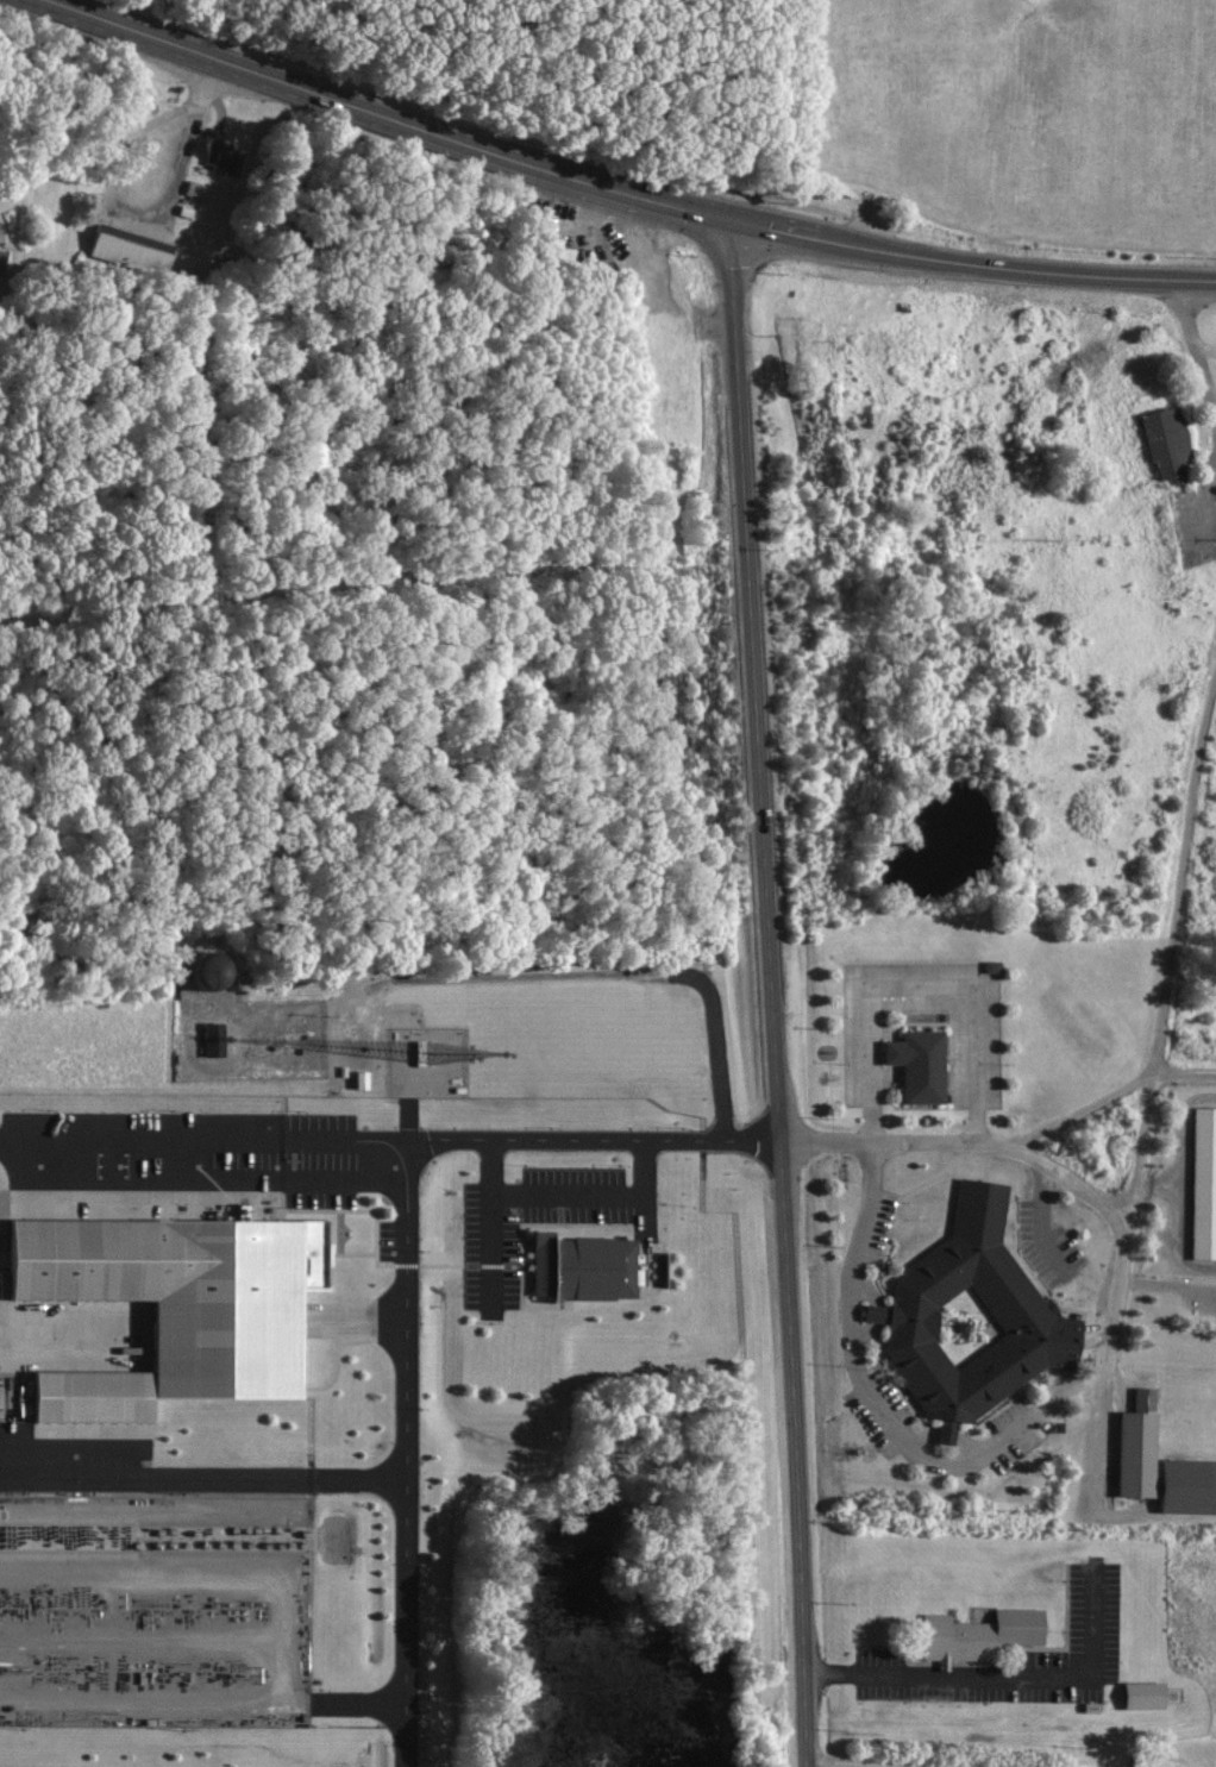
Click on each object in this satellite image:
road: (13, 49)
road: (180, 136)
building: (222, 156)
road: (618, 192)
traffic signals: (738, 224)
building: (131, 253)
road: (1195, 347)
road: (1205, 347)
road: (1215, 403)
building: (1168, 443)
road: (1180, 871)
water tower: (212, 972)
road: (775, 995)
building: (215, 1038)
building: (915, 1064)
road: (1105, 1101)
road: (389, 1134)
road: (1142, 1147)
road: (643, 1183)
building: (1204, 1184)
road: (566, 1188)
road: (490, 1220)
building: (583, 1266)
building: (0, 1287)
building: (917, 1295)
building: (177, 1302)
road: (1097, 1393)
building: (1140, 1445)
road: (407, 1450)
road: (203, 1471)
building: (949, 1638)
road: (1010, 1675)
building: (1147, 1694)
road: (895, 1760)

